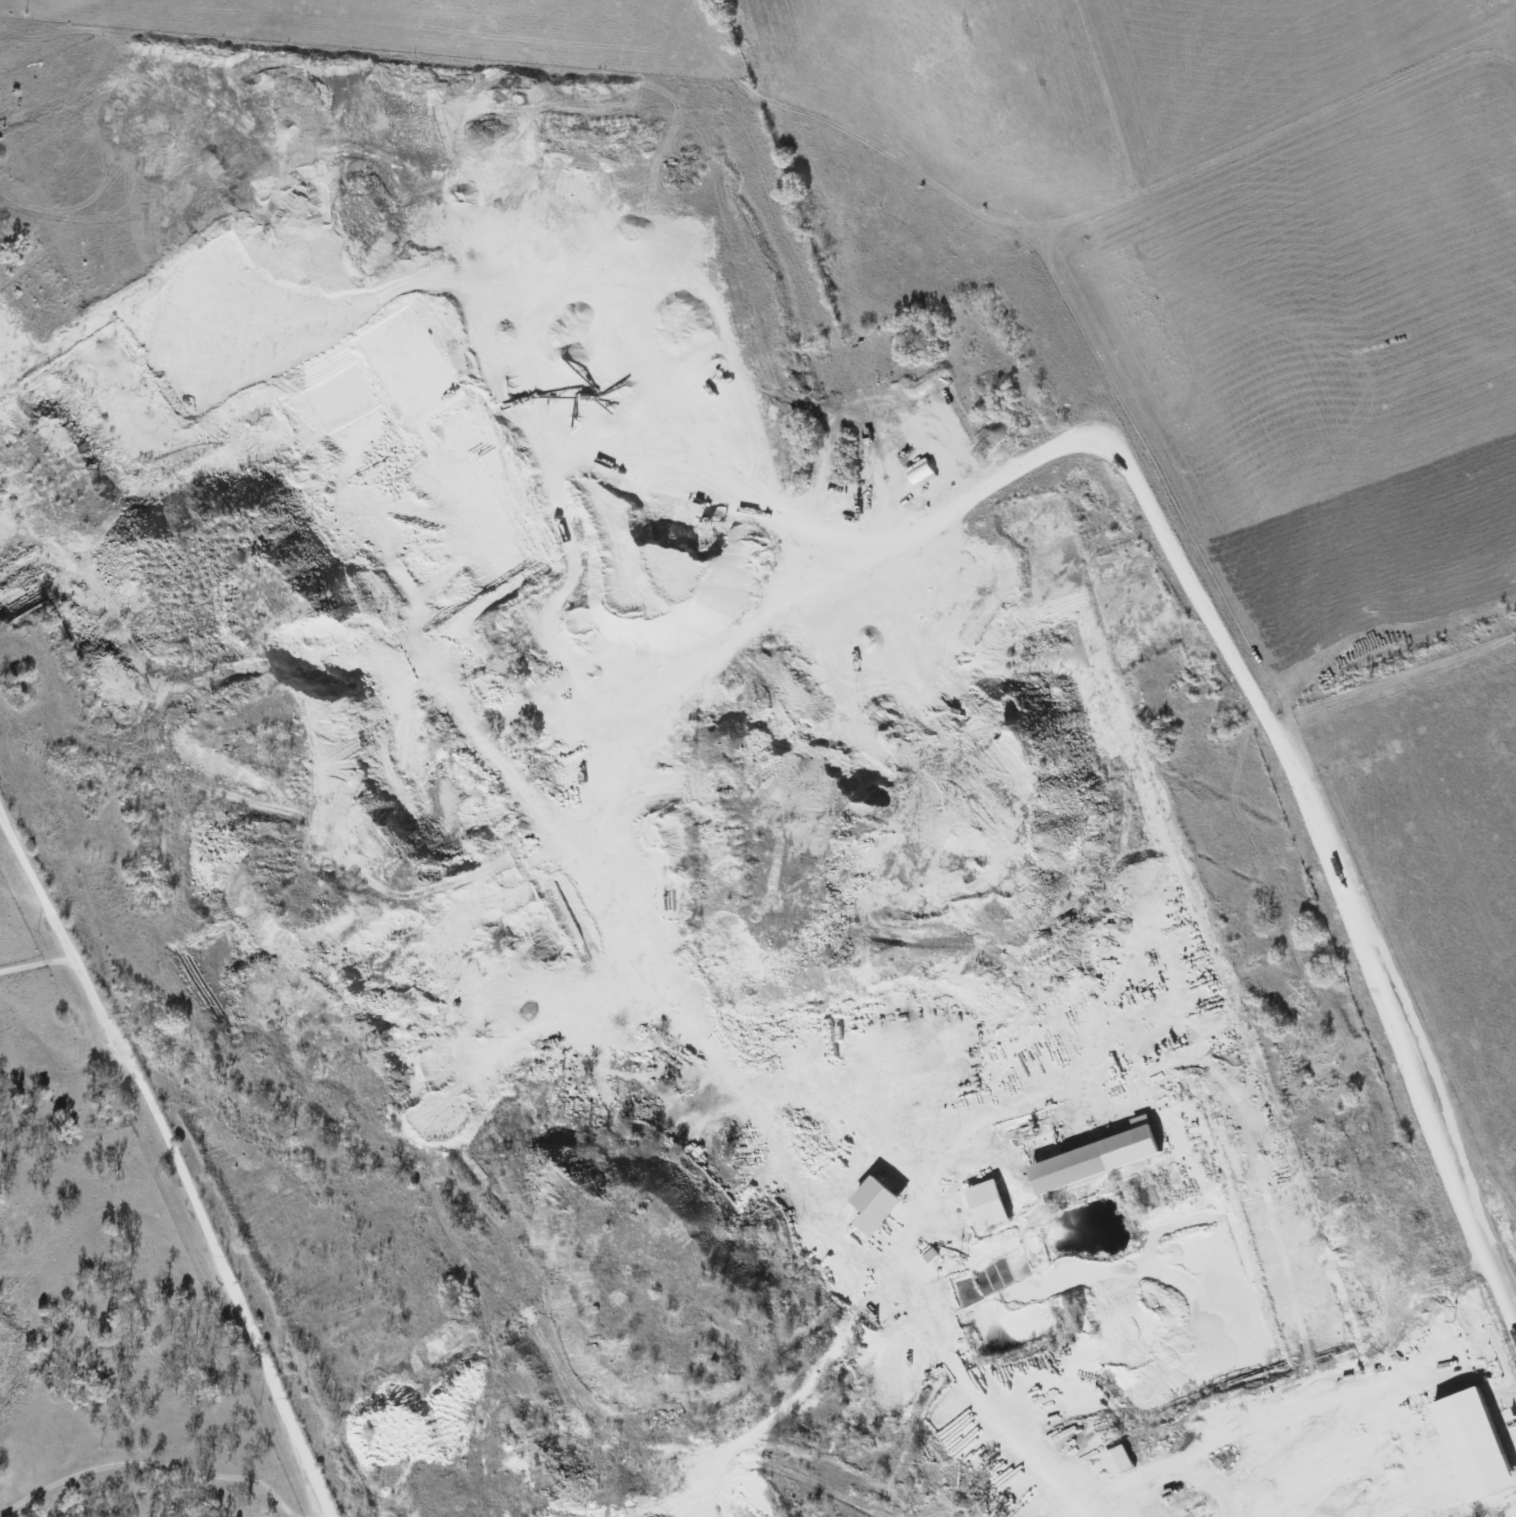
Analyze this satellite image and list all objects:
road: (37, 963)
quarry: (703, 965)
building: (1094, 1157)
road: (173, 1158)
building: (985, 1203)
building: (865, 1223)
road: (148, 1461)
building: (1116, 1461)
road: (315, 1514)

